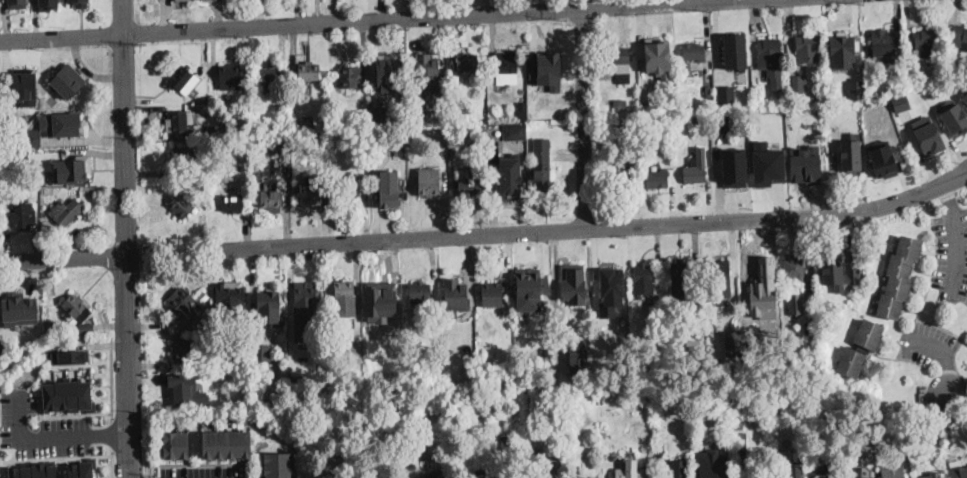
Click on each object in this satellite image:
building: (254, 1)
building: (17, 3)
building: (79, 3)
building: (48, 4)
road: (364, 21)
building: (959, 39)
building: (922, 45)
building: (881, 47)
building: (808, 48)
building: (735, 50)
building: (841, 50)
building: (694, 52)
building: (657, 55)
building: (771, 59)
building: (467, 63)
building: (620, 63)
building: (507, 68)
building: (390, 71)
building: (309, 72)
building: (427, 75)
building: (350, 76)
building: (230, 77)
building: (269, 77)
building: (68, 80)
building: (183, 80)
building: (800, 84)
building: (26, 87)
building: (856, 88)
building: (660, 92)
building: (455, 94)
building: (965, 96)
building: (721, 97)
building: (900, 101)
building: (619, 104)
building: (646, 105)
building: (522, 106)
road: (583, 114)
building: (698, 119)
building: (955, 119)
building: (374, 120)
building: (418, 120)
building: (180, 122)
building: (275, 122)
building: (309, 122)
building: (62, 123)
building: (722, 123)
building: (244, 124)
building: (298, 126)
building: (342, 127)
building: (624, 128)
building: (214, 130)
building: (468, 131)
building: (515, 131)
building: (927, 134)
building: (32, 137)
building: (324, 139)
building: (261, 144)
building: (279, 144)
building: (183, 155)
building: (850, 155)
building: (882, 159)
building: (767, 163)
building: (807, 163)
building: (542, 164)
building: (734, 167)
building: (73, 168)
building: (696, 168)
building: (619, 172)
road: (963, 176)
building: (510, 177)
building: (657, 179)
building: (429, 181)
building: (351, 185)
building: (470, 186)
building: (389, 188)
building: (314, 195)
building: (271, 198)
building: (232, 203)
building: (181, 205)
building: (22, 210)
building: (65, 212)
road: (550, 231)
road: (957, 237)
road: (126, 239)
parking lot: (952, 254)
road: (63, 259)
building: (756, 267)
building: (794, 267)
building: (718, 270)
building: (838, 272)
building: (643, 273)
building: (899, 277)
building: (681, 280)
building: (572, 282)
building: (611, 285)
building: (530, 288)
building: (382, 289)
building: (493, 290)
building: (420, 292)
building: (455, 293)
building: (231, 297)
building: (345, 298)
building: (188, 302)
building: (796, 304)
building: (268, 306)
building: (76, 307)
building: (305, 310)
building: (20, 311)
building: (180, 323)
building: (46, 324)
building: (86, 328)
building: (869, 334)
building: (370, 337)
building: (411, 341)
building: (693, 341)
building: (356, 342)
building: (187, 348)
building: (19, 349)
building: (545, 351)
road: (942, 351)
building: (262, 352)
building: (69, 357)
building: (472, 358)
building: (579, 358)
building: (6, 359)
building: (851, 363)
building: (550, 364)
building: (484, 371)
building: (505, 377)
building: (651, 380)
building: (558, 381)
building: (351, 382)
building: (489, 386)
building: (186, 388)
building: (67, 395)
building: (226, 396)
building: (237, 396)
building: (601, 397)
building: (640, 397)
road: (959, 397)
building: (566, 399)
building: (266, 402)
building: (829, 404)
road: (99, 411)
road: (112, 415)
building: (236, 416)
building: (551, 424)
building: (741, 425)
parking lot: (41, 428)
road: (112, 433)
road: (53, 435)
building: (935, 435)
building: (226, 442)
building: (175, 444)
building: (741, 445)
building: (553, 450)
building: (661, 450)
building: (856, 452)
building: (905, 454)
road: (56, 457)
building: (774, 458)
road: (149, 460)
road: (112, 462)
building: (710, 464)
building: (277, 465)
building: (412, 465)
road: (2, 468)
building: (82, 468)
building: (677, 469)
building: (34, 470)
building: (493, 470)
building: (632, 471)
parking lot: (205, 472)
building: (856, 472)
building: (750, 473)
building: (959, 473)
building: (895, 474)
building: (434, 475)
building: (933, 475)
road: (149, 476)
building: (660, 476)
building: (788, 476)
building: (539, 477)
building: (578, 477)
building: (828, 477)

